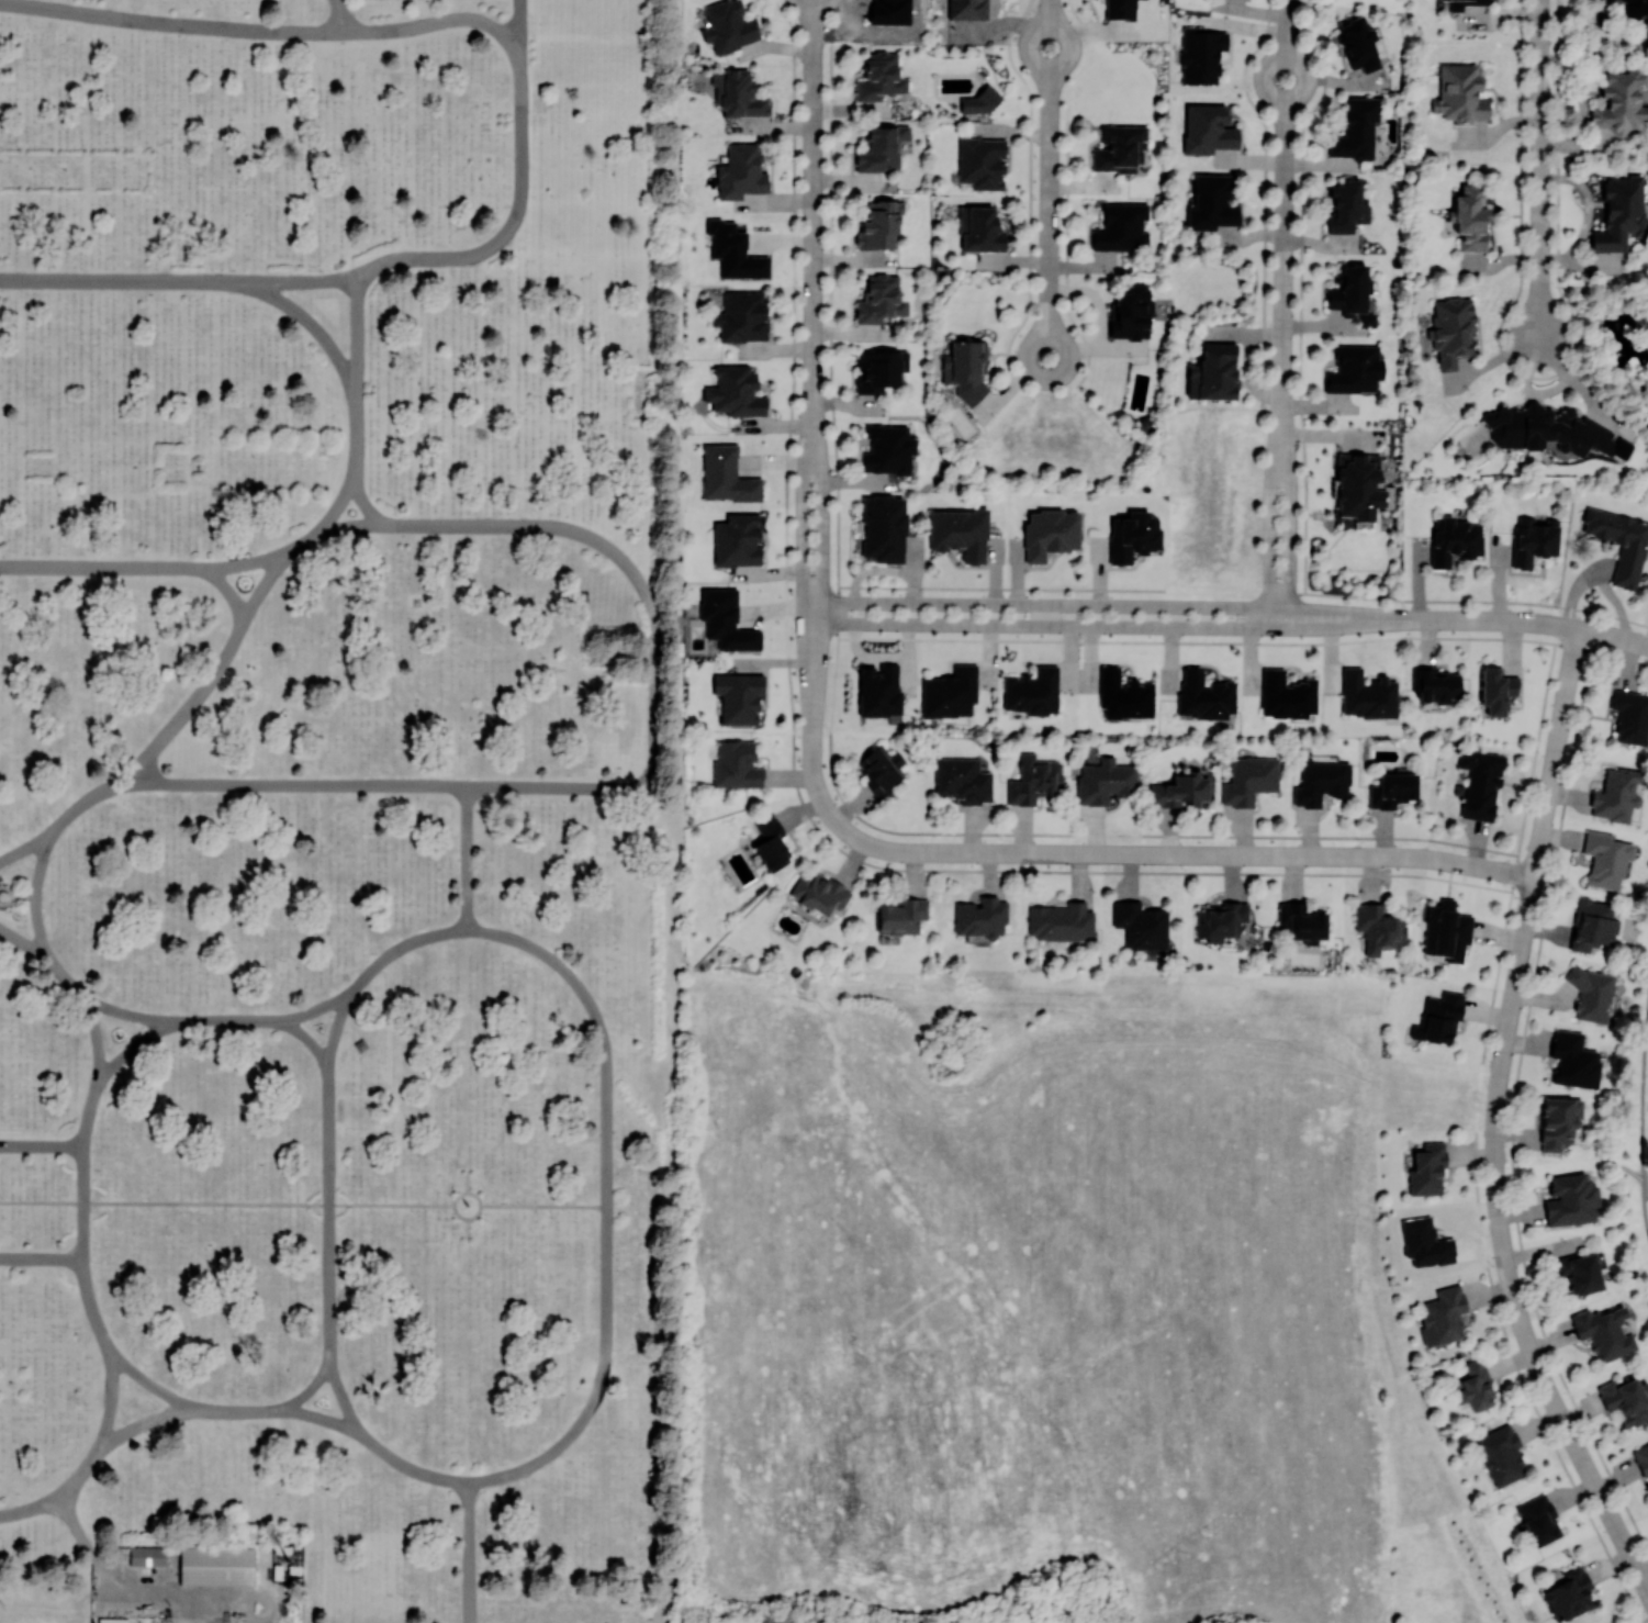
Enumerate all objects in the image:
building: (1459, 4)
building: (1635, 8)
building: (966, 9)
building: (1119, 9)
road: (339, 15)
road: (430, 21)
road: (171, 22)
road: (518, 22)
building: (728, 25)
building: (1359, 44)
building: (1201, 54)
building: (879, 77)
building: (737, 93)
building: (1459, 94)
building: (977, 101)
building: (1619, 105)
building: (1356, 128)
building: (1208, 130)
building: (882, 148)
building: (1119, 148)
building: (980, 161)
road: (1540, 169)
building: (741, 171)
road: (1047, 179)
road: (812, 198)
road: (1283, 202)
building: (1211, 203)
building: (1347, 205)
building: (1619, 213)
road: (512, 217)
building: (1470, 217)
building: (879, 224)
building: (1121, 227)
building: (979, 230)
building: (733, 250)
road: (121, 279)
road: (296, 280)
building: (1352, 292)
building: (881, 299)
building: (1132, 312)
building: (741, 316)
road: (310, 322)
building: (1451, 331)
building: (965, 368)
building: (877, 369)
building: (1355, 369)
building: (1213, 372)
building: (735, 391)
road: (356, 410)
building: (1551, 430)
building: (888, 449)
building: (726, 475)
building: (1358, 485)
road: (363, 502)
road: (1269, 516)
road: (1291, 516)
road: (348, 524)
building: (884, 528)
building: (960, 533)
building: (1050, 533)
building: (1133, 536)
building: (736, 540)
building: (1455, 540)
building: (1533, 540)
road: (301, 541)
building: (1621, 542)
road: (247, 560)
road: (822, 563)
road: (803, 564)
road: (103, 566)
road: (883, 568)
road: (1599, 579)
road: (265, 581)
road: (229, 587)
road: (1103, 605)
building: (726, 620)
road: (1527, 623)
road: (1103, 626)
road: (654, 631)
road: (883, 658)
building: (1436, 684)
building: (879, 691)
building: (1495, 691)
building: (950, 692)
building: (1032, 692)
road: (195, 695)
building: (1124, 695)
building: (1204, 695)
building: (1286, 695)
building: (1367, 695)
building: (738, 697)
building: (1630, 716)
building: (736, 765)
building: (882, 771)
building: (1249, 779)
building: (963, 780)
building: (1034, 780)
building: (1105, 782)
building: (1321, 782)
road: (298, 783)
building: (1480, 783)
building: (1180, 788)
building: (1392, 788)
road: (90, 795)
building: (1615, 795)
park: (333, 813)
building: (771, 842)
road: (26, 847)
road: (1134, 853)
road: (467, 857)
building: (1605, 859)
road: (35, 891)
building: (819, 893)
road: (11, 894)
road: (23, 895)
building: (900, 916)
building: (980, 917)
building: (1221, 920)
building: (1061, 921)
building: (1302, 924)
building: (1141, 925)
building: (1593, 925)
building: (1378, 928)
building: (1446, 930)
road: (22, 940)
road: (397, 947)
road: (60, 973)
building: (1591, 994)
road: (307, 1010)
road: (125, 1012)
road: (1510, 1017)
building: (1438, 1018)
road: (221, 1019)
road: (333, 1031)
road: (96, 1036)
road: (131, 1046)
building: (1573, 1060)
road: (86, 1113)
building: (1557, 1122)
road: (41, 1144)
building: (1427, 1169)
road: (468, 1182)
building: (1570, 1199)
road: (80, 1201)
road: (226, 1202)
road: (480, 1204)
road: (607, 1204)
road: (543, 1205)
road: (327, 1212)
road: (468, 1227)
building: (1425, 1242)
road: (40, 1257)
building: (1579, 1273)
road: (87, 1297)
building: (1444, 1314)
crop: (1035, 1316)
building: (1604, 1332)
road: (147, 1381)
building: (1475, 1386)
road: (111, 1396)
road: (343, 1400)
building: (1624, 1401)
road: (239, 1409)
road: (319, 1417)
road: (145, 1420)
building: (1501, 1455)
building: (1641, 1458)
road: (412, 1467)
road: (75, 1476)
road: (1601, 1497)
road: (29, 1506)
building: (1538, 1520)
road: (468, 1552)
building: (147, 1555)
building: (217, 1565)
road: (102, 1569)
road: (227, 1590)
building: (1569, 1592)
road: (184, 1604)
building: (113, 1620)
road: (182, 1621)

